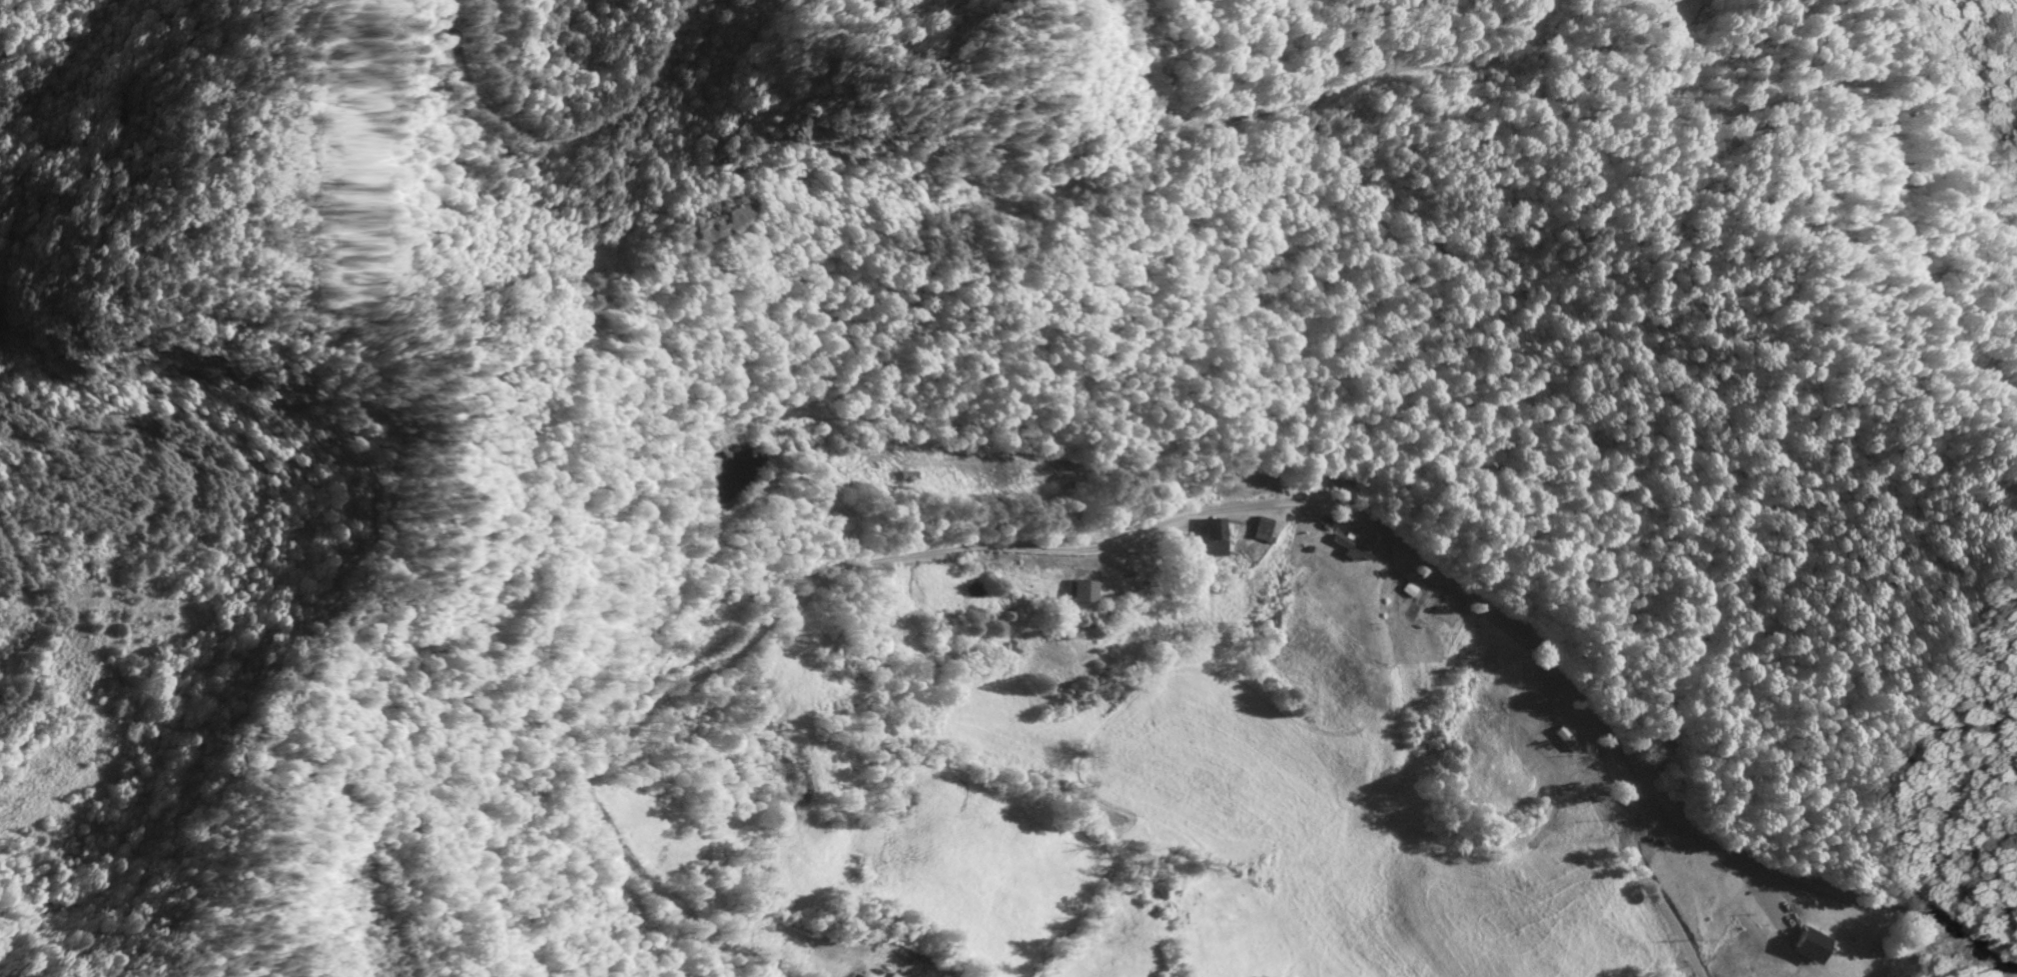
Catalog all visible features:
road: (1200, 511)
building: (1260, 527)
building: (1209, 536)
building: (1348, 550)
building: (1081, 591)
building: (1810, 945)

